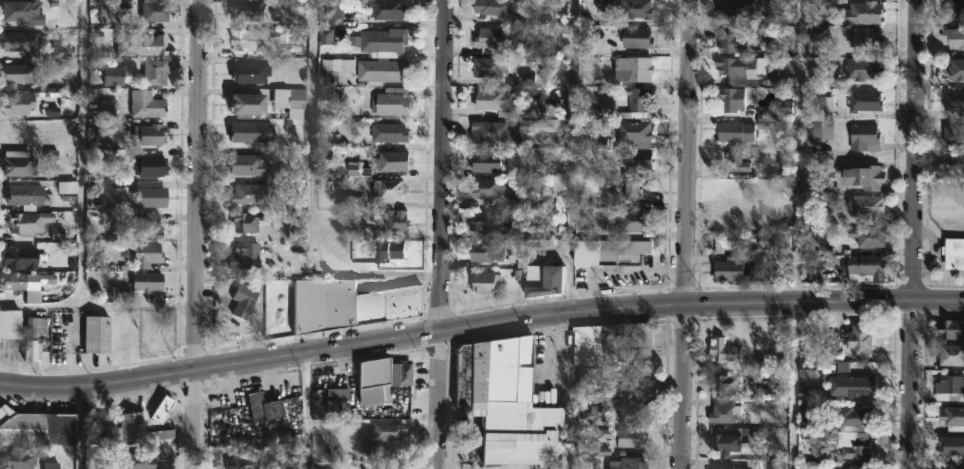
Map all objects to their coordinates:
building: (497, 7)
building: (818, 7)
building: (390, 9)
building: (632, 9)
building: (732, 9)
building: (953, 9)
building: (156, 11)
building: (248, 12)
building: (24, 13)
building: (334, 13)
building: (861, 13)
building: (825, 35)
building: (632, 37)
building: (953, 38)
building: (493, 39)
building: (861, 39)
building: (257, 40)
building: (392, 40)
building: (20, 41)
building: (731, 44)
building: (153, 45)
building: (728, 65)
building: (490, 67)
building: (954, 68)
building: (386, 69)
building: (637, 69)
building: (862, 69)
building: (20, 73)
building: (252, 73)
building: (154, 74)
building: (60, 98)
building: (291, 98)
building: (732, 98)
building: (492, 100)
building: (395, 101)
building: (638, 102)
building: (862, 102)
building: (953, 102)
building: (252, 103)
building: (21, 104)
building: (147, 105)
building: (819, 105)
building: (105, 109)
building: (816, 128)
building: (249, 131)
building: (504, 131)
building: (393, 132)
building: (632, 132)
building: (729, 132)
building: (150, 134)
building: (20, 136)
building: (861, 136)
building: (952, 136)
road: (83, 152)
road: (570, 158)
building: (397, 160)
building: (636, 160)
building: (488, 161)
building: (734, 161)
building: (152, 164)
building: (248, 164)
building: (953, 165)
building: (19, 166)
building: (866, 179)
building: (822, 186)
building: (496, 187)
building: (392, 188)
building: (637, 188)
building: (251, 193)
road: (309, 193)
building: (26, 194)
building: (153, 197)
building: (352, 200)
building: (865, 205)
building: (246, 220)
building: (398, 220)
building: (632, 221)
building: (31, 222)
building: (150, 225)
building: (497, 225)
road: (196, 234)
road: (445, 234)
road: (685, 234)
road: (797, 234)
road: (913, 234)
building: (864, 238)
building: (393, 251)
building: (487, 251)
building: (609, 252)
building: (953, 252)
building: (148, 253)
building: (247, 254)
building: (23, 258)
building: (727, 268)
building: (864, 268)
road: (615, 271)
building: (542, 276)
building: (17, 280)
building: (149, 281)
building: (485, 281)
building: (121, 293)
building: (244, 300)
road: (97, 304)
building: (351, 304)
building: (11, 322)
road: (479, 326)
building: (950, 328)
building: (99, 333)
building: (35, 334)
building: (128, 334)
building: (642, 336)
building: (857, 339)
building: (722, 349)
building: (950, 354)
building: (583, 374)
building: (632, 376)
building: (385, 377)
building: (723, 382)
building: (851, 387)
building: (949, 388)
road: (565, 393)
building: (505, 404)
building: (811, 406)
building: (266, 407)
building: (340, 408)
building: (630, 408)
road: (307, 411)
building: (722, 413)
building: (591, 415)
building: (952, 415)
building: (853, 419)
building: (149, 422)
building: (36, 427)
building: (103, 428)
road: (80, 431)
building: (383, 433)
building: (621, 435)
building: (849, 443)
building: (729, 444)
building: (951, 444)
building: (22, 458)
building: (139, 460)
building: (244, 461)
building: (625, 463)
building: (372, 465)
building: (955, 465)
building: (53, 466)
building: (856, 466)
building: (728, 467)

